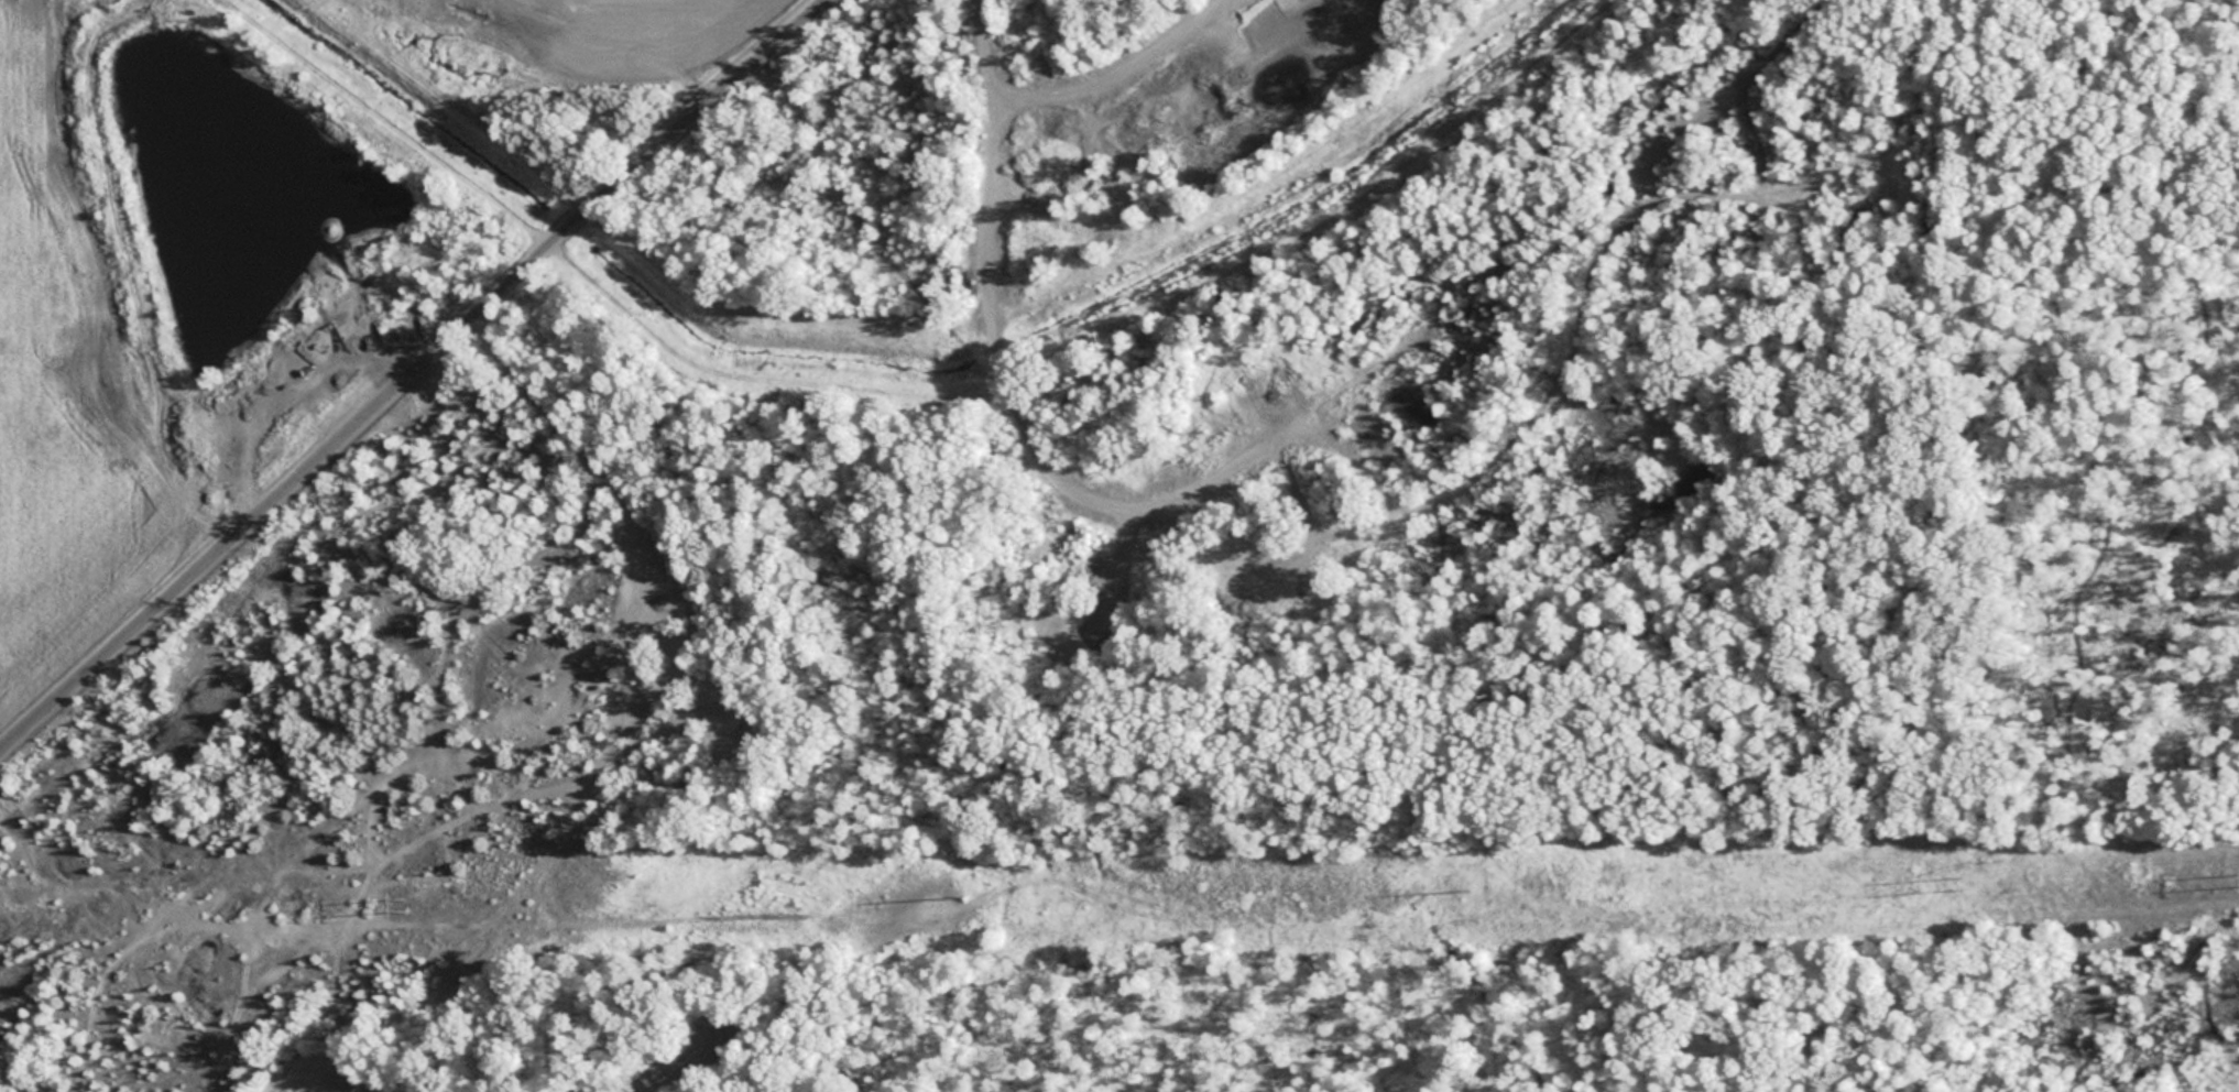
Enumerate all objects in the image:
road: (974, 250)
road: (413, 376)
power tower: (1970, 884)
power tower: (1476, 887)
power tower: (968, 900)
power tower: (404, 903)
road: (461, 1088)

